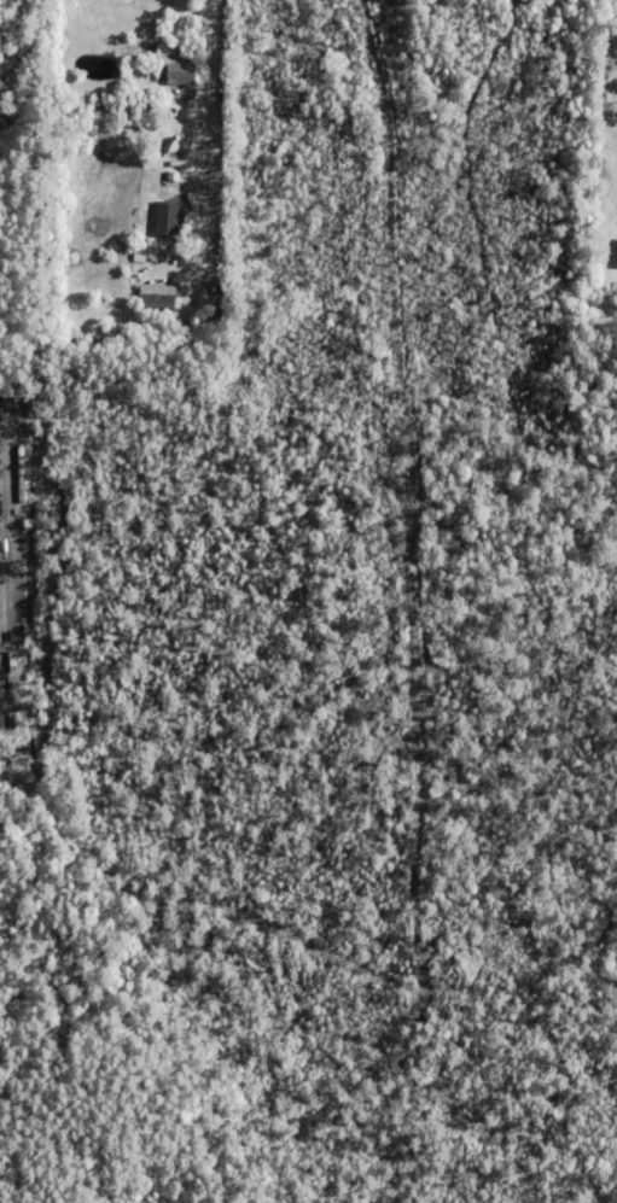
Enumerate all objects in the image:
building: (181, 66)
building: (142, 106)
road: (202, 118)
building: (164, 215)
building: (616, 262)
building: (186, 300)
building: (157, 304)
building: (213, 327)

